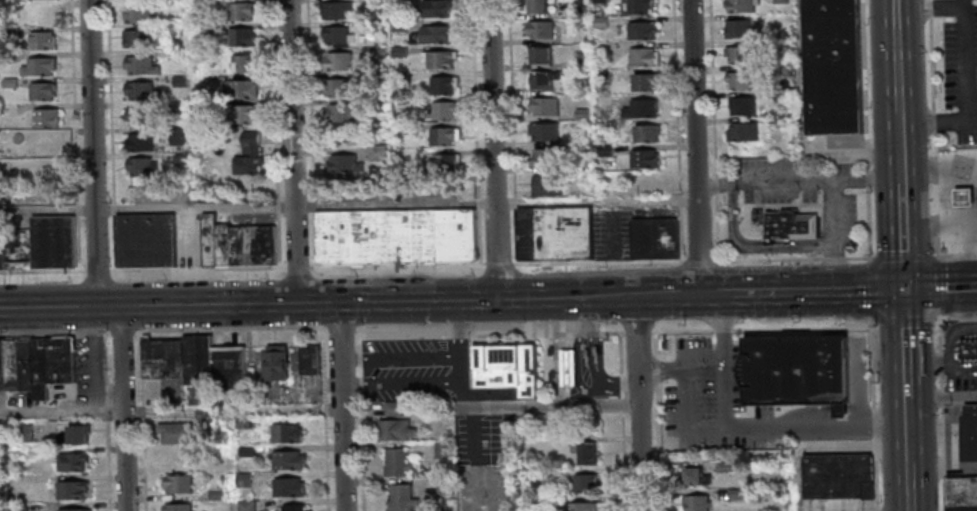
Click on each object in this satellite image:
building: (597, 1)
building: (375, 2)
building: (396, 2)
building: (779, 2)
road: (969, 2)
building: (197, 4)
building: (538, 6)
building: (740, 6)
building: (638, 7)
building: (432, 9)
building: (239, 10)
building: (334, 10)
building: (136, 14)
road: (894, 14)
building: (600, 23)
building: (398, 26)
building: (370, 27)
building: (737, 29)
building: (200, 30)
building: (538, 30)
building: (640, 31)
building: (335, 35)
building: (433, 35)
building: (238, 37)
building: (47, 39)
building: (135, 39)
road: (967, 44)
building: (600, 50)
building: (398, 52)
building: (377, 53)
building: (738, 55)
building: (538, 56)
building: (640, 57)
building: (436, 60)
building: (336, 61)
building: (243, 64)
building: (579, 64)
building: (41, 65)
building: (139, 65)
building: (832, 66)
road: (896, 70)
building: (782, 71)
road: (801, 77)
building: (371, 80)
building: (542, 80)
building: (739, 80)
building: (10, 81)
building: (207, 81)
building: (179, 82)
building: (644, 82)
street lamp: (105, 83)
building: (440, 85)
building: (335, 88)
building: (239, 89)
building: (43, 90)
building: (140, 91)
building: (782, 97)
building: (740, 106)
building: (177, 107)
building: (542, 108)
building: (638, 109)
building: (442, 111)
building: (340, 113)
building: (241, 114)
building: (581, 114)
building: (138, 115)
building: (46, 117)
building: (396, 117)
road: (954, 121)
building: (605, 126)
road: (677, 130)
road: (714, 130)
road: (865, 130)
road: (933, 130)
building: (402, 131)
road: (511, 131)
building: (543, 131)
building: (741, 132)
building: (646, 133)
road: (274, 134)
road: (74, 135)
road: (475, 135)
building: (177, 136)
road: (310, 137)
building: (441, 138)
road: (111, 139)
building: (46, 142)
building: (140, 142)
road: (694, 146)
road: (898, 148)
road: (493, 149)
road: (293, 151)
road: (92, 153)
building: (375, 155)
road: (851, 155)
building: (247, 156)
building: (544, 158)
building: (179, 160)
building: (643, 160)
building: (445, 164)
building: (343, 165)
building: (48, 166)
building: (141, 168)
road: (864, 179)
road: (783, 182)
building: (546, 184)
road: (716, 184)
building: (964, 199)
road: (348, 205)
road: (830, 219)
building: (792, 223)
building: (554, 232)
building: (456, 234)
building: (413, 235)
building: (354, 236)
road: (901, 236)
building: (655, 237)
building: (51, 240)
building: (1, 241)
building: (144, 242)
building: (236, 244)
road: (752, 245)
building: (16, 246)
road: (955, 255)
road: (903, 256)
road: (858, 257)
road: (833, 258)
road: (770, 259)
road: (700, 260)
road: (598, 261)
road: (719, 261)
road: (497, 266)
road: (282, 268)
road: (42, 270)
road: (97, 270)
road: (194, 270)
road: (298, 270)
road: (397, 272)
road: (313, 274)
road: (832, 274)
street lamp: (75, 275)
road: (940, 286)
road: (939, 287)
road: (870, 288)
traffic signals: (903, 288)
road: (853, 289)
road: (764, 292)
road: (108, 302)
road: (362, 302)
road: (955, 317)
road: (905, 318)
road: (874, 319)
road: (636, 321)
road: (801, 327)
road: (232, 329)
road: (721, 329)
road: (342, 330)
road: (682, 330)
road: (637, 331)
road: (489, 333)
road: (54, 334)
road: (123, 334)
road: (904, 342)
road: (655, 343)
building: (968, 348)
road: (705, 353)
road: (354, 356)
building: (160, 357)
building: (57, 359)
road: (91, 359)
building: (195, 359)
building: (308, 359)
road: (656, 361)
road: (725, 361)
building: (23, 362)
road: (659, 362)
building: (275, 363)
building: (9, 364)
building: (1, 365)
road: (621, 365)
building: (507, 367)
building: (569, 367)
building: (37, 368)
building: (227, 368)
road: (459, 368)
road: (138, 369)
road: (637, 369)
road: (656, 369)
building: (795, 369)
parking lot: (412, 370)
parking lot: (87, 371)
road: (661, 377)
road: (656, 379)
road: (355, 384)
road: (687, 391)
road: (958, 396)
parking lot: (706, 401)
road: (622, 404)
road: (548, 405)
road: (341, 406)
road: (122, 408)
building: (391, 408)
road: (842, 408)
building: (843, 409)
road: (170, 410)
road: (797, 412)
road: (939, 412)
road: (139, 413)
road: (875, 413)
road: (861, 416)
road: (106, 419)
road: (325, 419)
road: (359, 420)
building: (208, 422)
building: (241, 423)
road: (781, 425)
building: (394, 429)
road: (907, 431)
building: (21, 432)
building: (75, 432)
building: (173, 432)
building: (284, 432)
building: (968, 432)
parking lot: (483, 439)
road: (658, 448)
building: (442, 450)
road: (640, 450)
building: (244, 451)
building: (584, 453)
building: (174, 457)
building: (285, 459)
road: (492, 459)
building: (70, 460)
road: (623, 461)
building: (395, 462)
building: (215, 464)
road: (140, 466)
building: (726, 466)
building: (693, 475)
building: (839, 476)
building: (242, 479)
road: (795, 479)
building: (583, 482)
building: (176, 483)
road: (475, 485)
road: (499, 485)
building: (286, 486)
building: (444, 486)
parking lot: (485, 486)
road: (908, 487)
building: (70, 489)
building: (961, 490)
building: (213, 493)
building: (734, 493)
building: (400, 497)
building: (694, 502)
building: (535, 504)
building: (244, 505)
building: (175, 506)
building: (582, 506)
building: (17, 507)
building: (291, 507)
building: (961, 507)
building: (71, 509)

